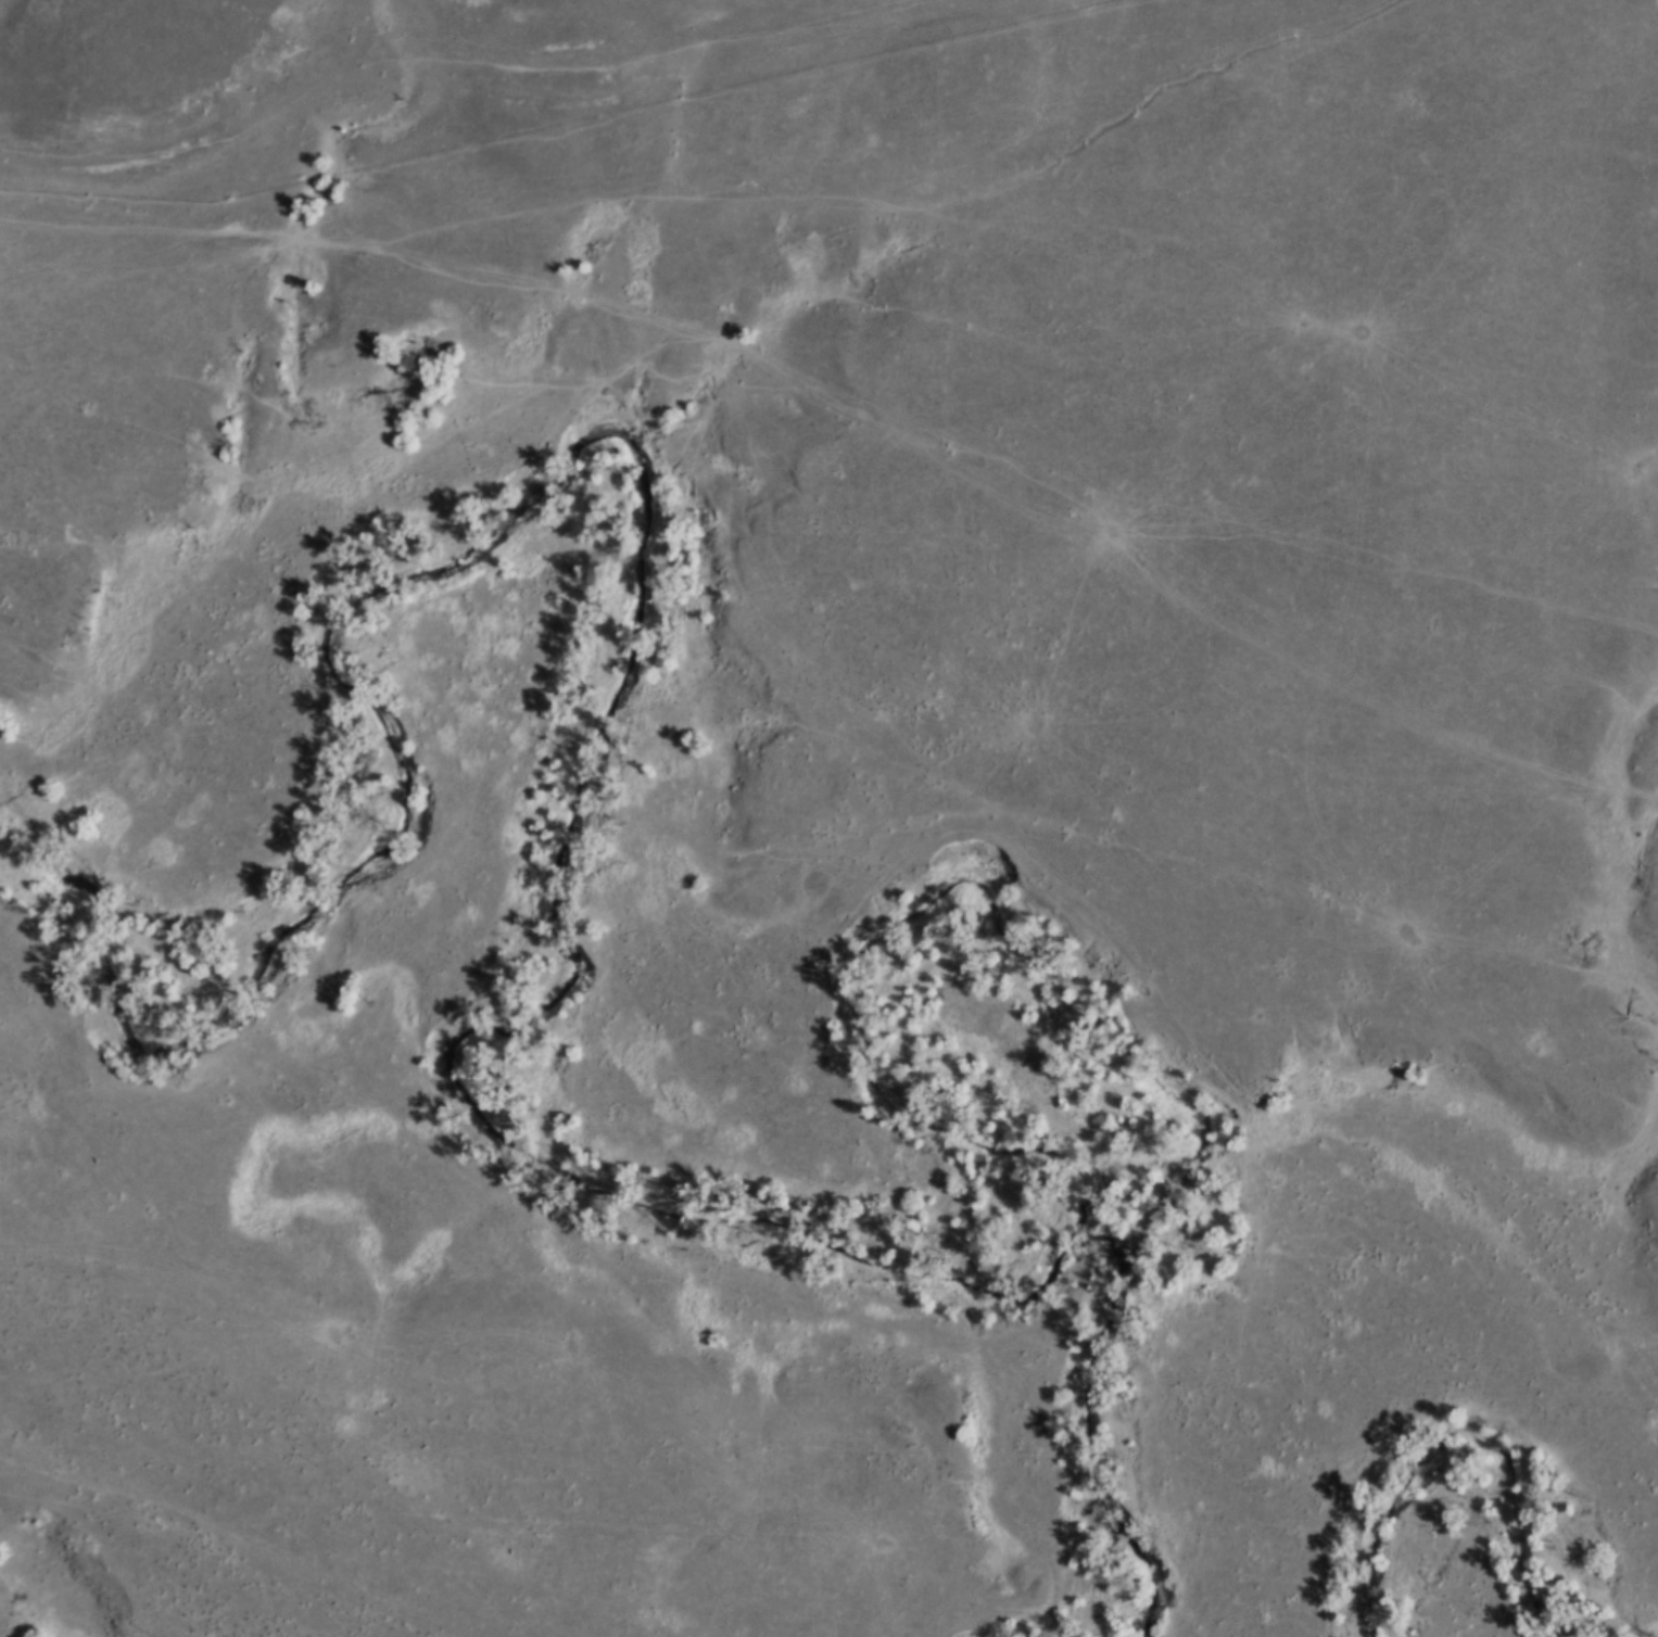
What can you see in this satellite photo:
road: (859, 415)

